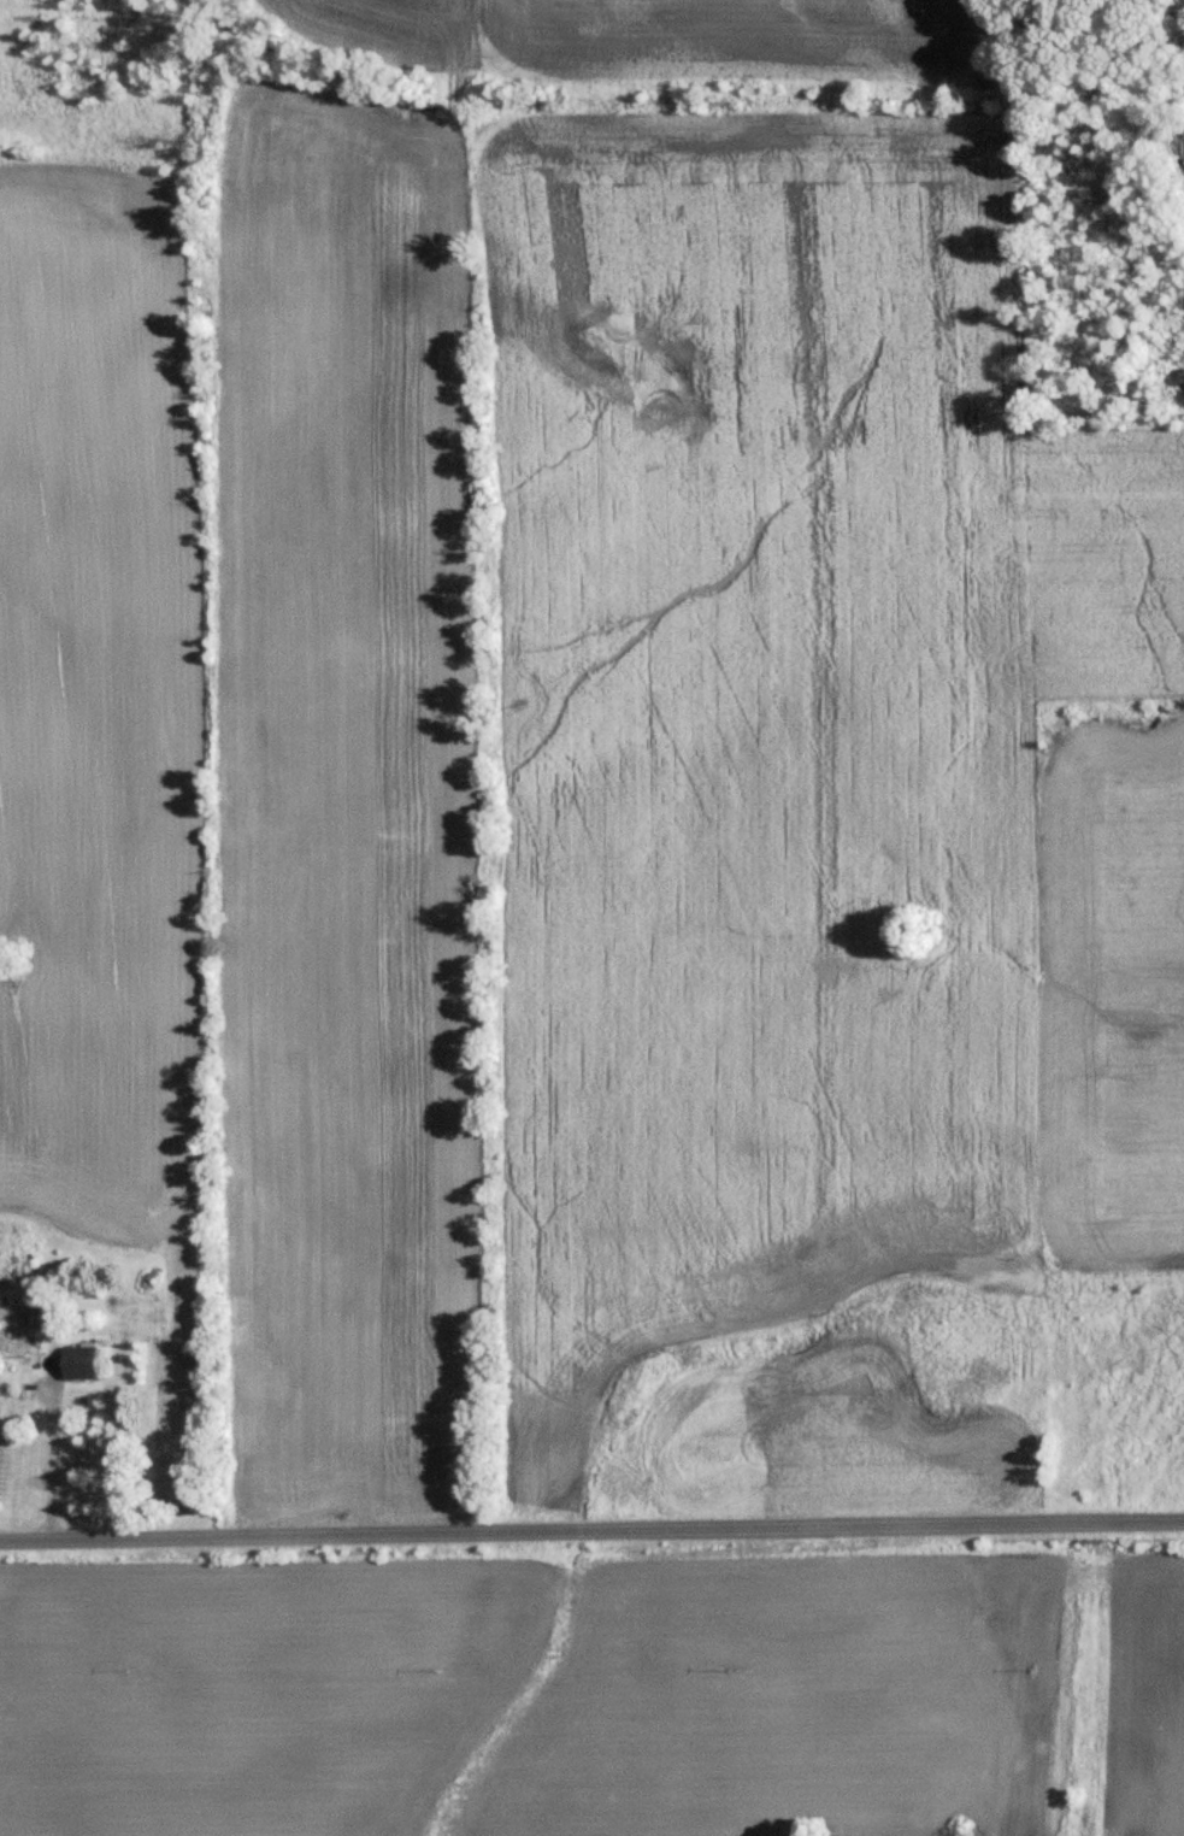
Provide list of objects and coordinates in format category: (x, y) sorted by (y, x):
building: (34, 1314)
building: (79, 1361)
road: (53, 1470)
road: (591, 1536)

